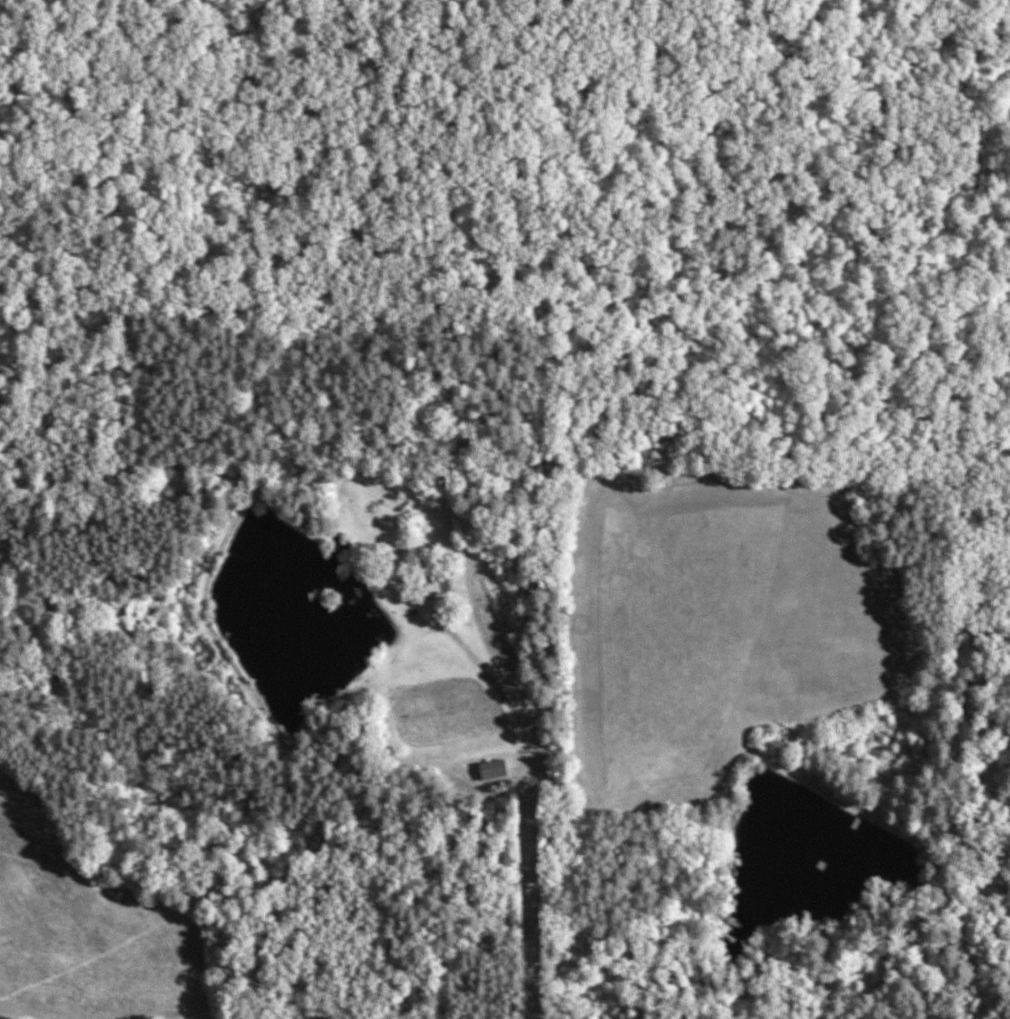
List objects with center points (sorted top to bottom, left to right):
building: (434, 586)
building: (491, 770)
road: (517, 900)

